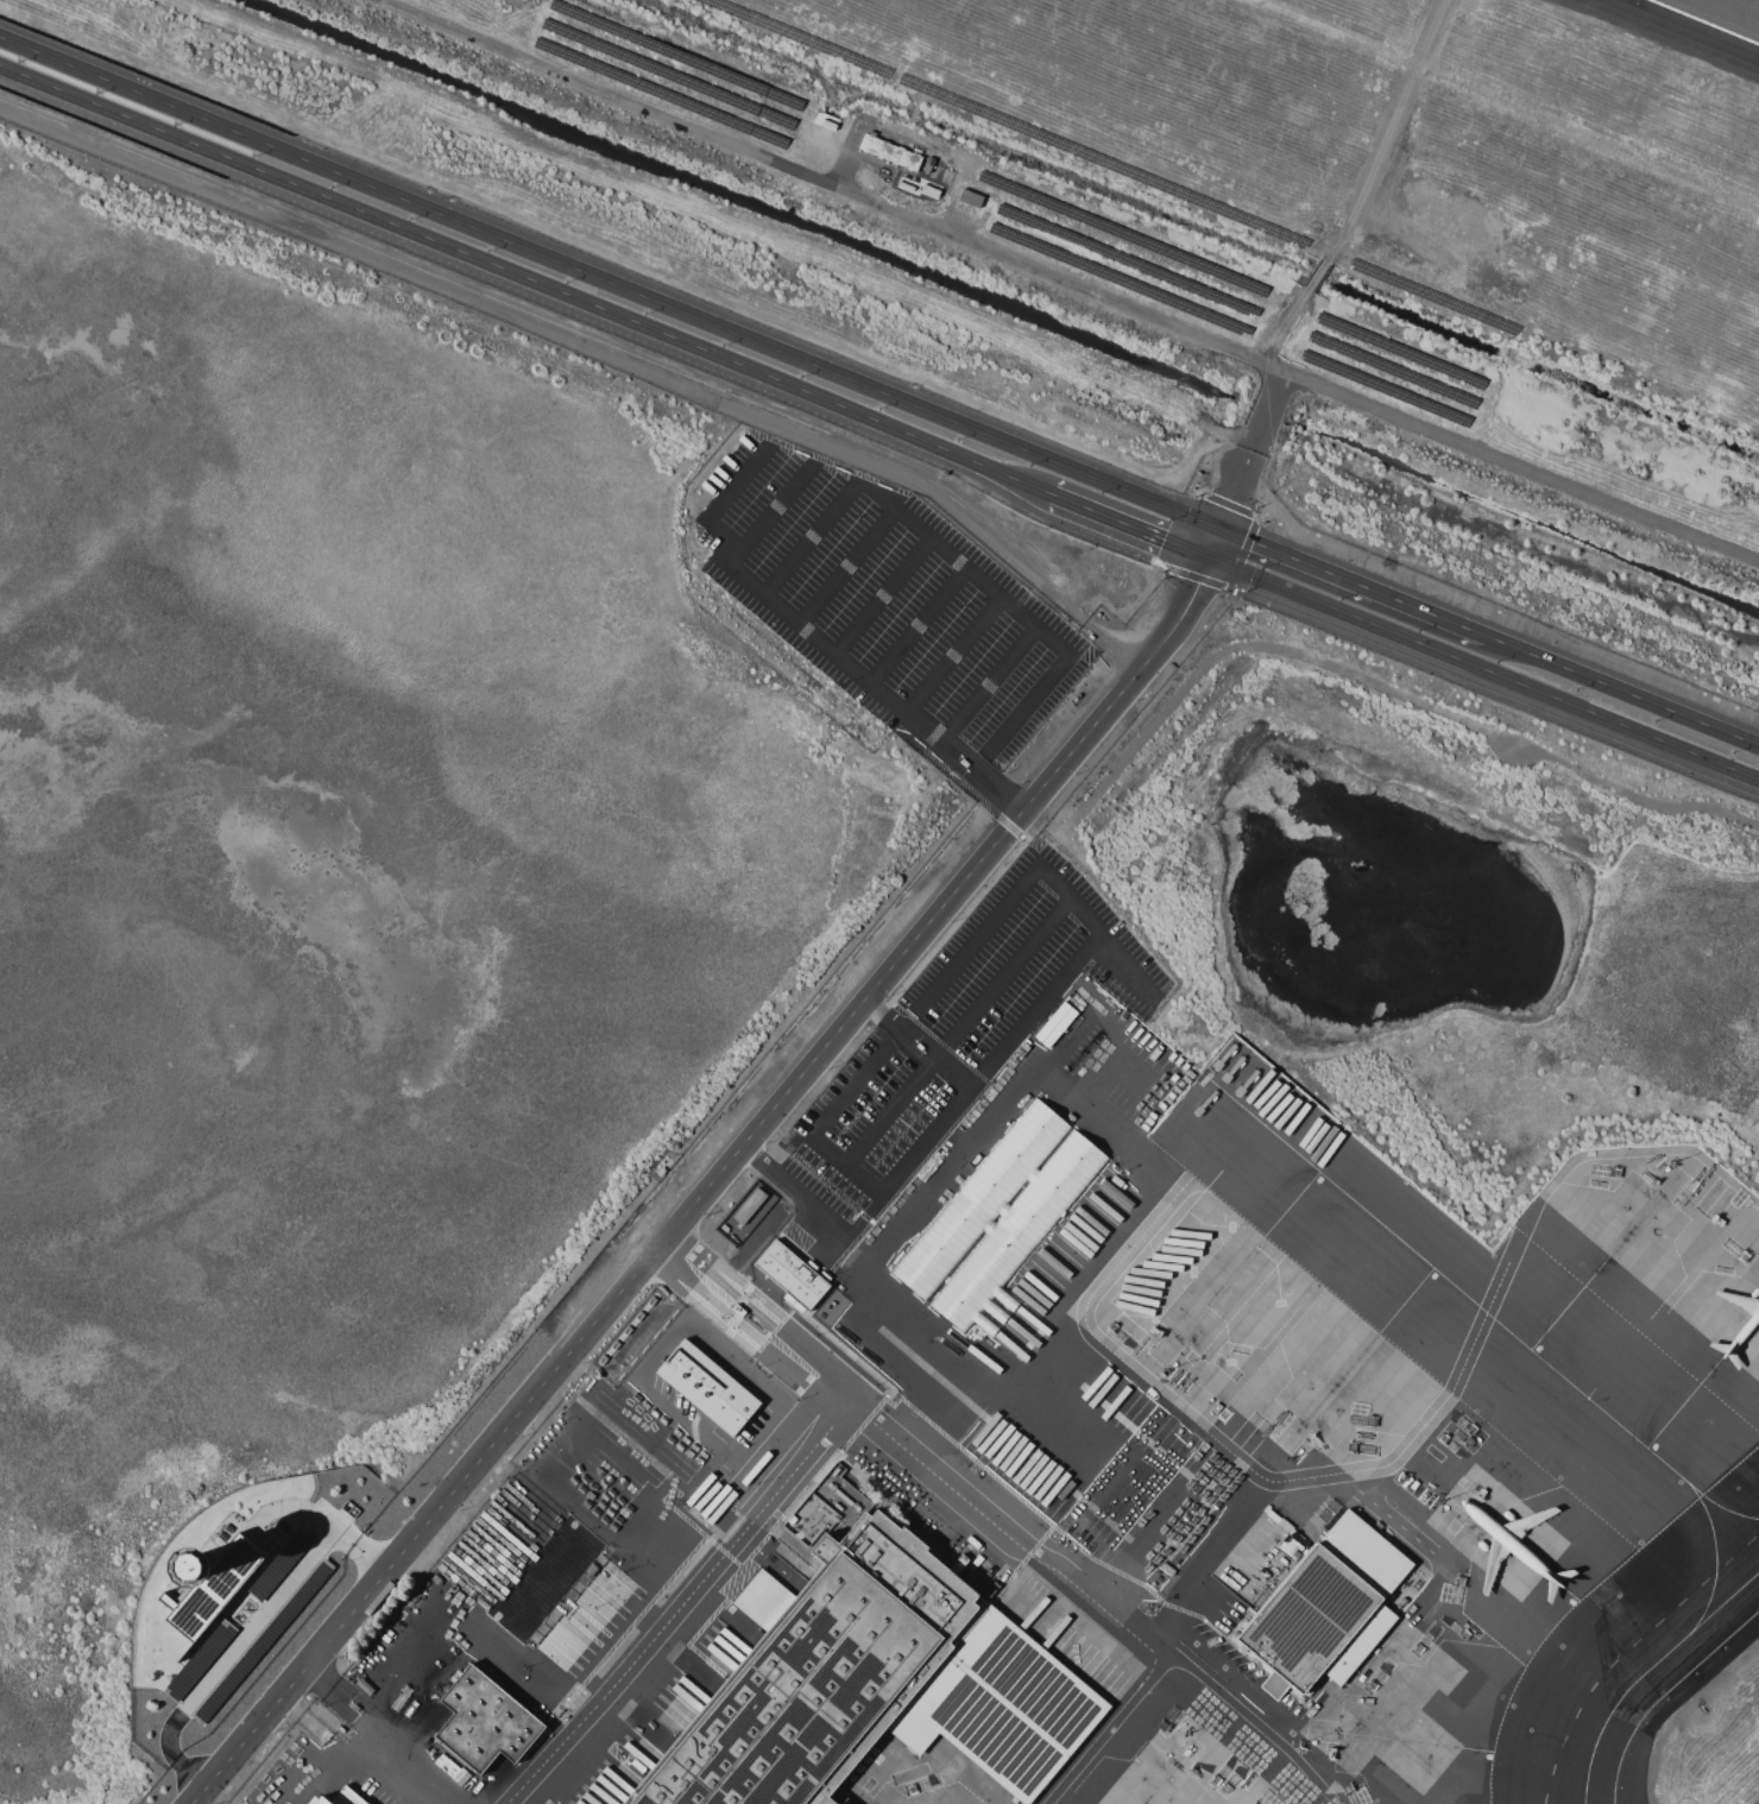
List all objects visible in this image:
building: (889, 151)
road: (523, 280)
road: (610, 282)
road: (1070, 282)
road: (1271, 411)
road: (881, 439)
road: (1240, 490)
road: (769, 507)
road: (1127, 524)
traffic signals: (1221, 528)
road: (948, 553)
traffic signals: (1208, 557)
road: (846, 564)
road: (1353, 581)
road: (883, 595)
road: (799, 622)
road: (919, 625)
road: (952, 655)
road: (1482, 669)
road: (1131, 676)
road: (1040, 685)
road: (1621, 692)
road: (965, 750)
road: (1000, 793)
airport: (879, 902)
road: (941, 903)
road: (1005, 903)
road: (1011, 969)
road: (1057, 976)
road: (891, 1020)
building: (1057, 1023)
road: (942, 1061)
road: (891, 1110)
road: (855, 1171)
road: (793, 1188)
building: (749, 1205)
building: (998, 1217)
road: (695, 1274)
building: (794, 1274)
airport taxiway: (1445, 1276)
building: (708, 1387)
road: (997, 1394)
road: (525, 1400)
road: (1068, 1423)
road: (1393, 1458)
road: (947, 1484)
airport taxiway: (1720, 1506)
building: (1286, 1545)
airport taxiway: (1715, 1551)
road: (1202, 1559)
building: (280, 1563)
building: (213, 1585)
road: (677, 1606)
building: (1328, 1607)
road: (250, 1628)
building: (263, 1641)
building: (200, 1659)
airport taxiway: (1646, 1671)
building: (875, 1679)
road: (328, 1685)
road: (359, 1710)
airport apron: (1061, 1722)
building: (486, 1723)
road: (1104, 1732)
road: (418, 1760)
building: (450, 1768)
building: (322, 1800)

